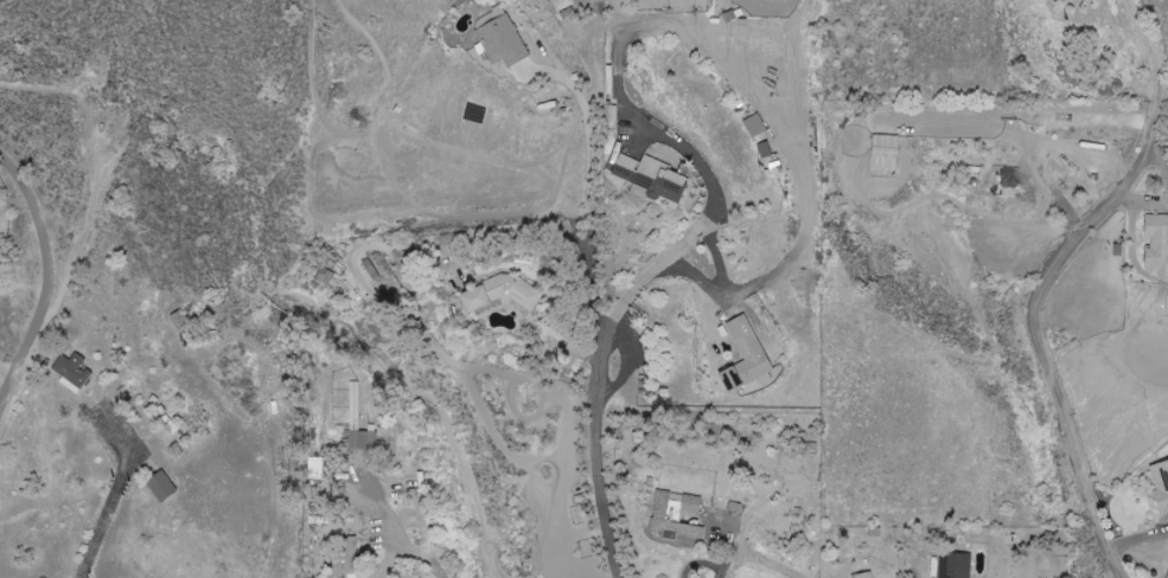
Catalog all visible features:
building: (497, 38)
building: (647, 178)
road: (587, 190)
road: (523, 233)
road: (695, 235)
building: (1155, 244)
road: (49, 275)
road: (1052, 280)
building: (499, 293)
building: (741, 357)
road: (6, 372)
building: (70, 372)
building: (360, 441)
road: (602, 452)
building: (313, 468)
building: (1160, 486)
building: (158, 487)
road: (109, 503)
building: (672, 516)
road: (409, 552)
road: (728, 553)
building: (343, 557)
building: (951, 566)
building: (861, 576)

